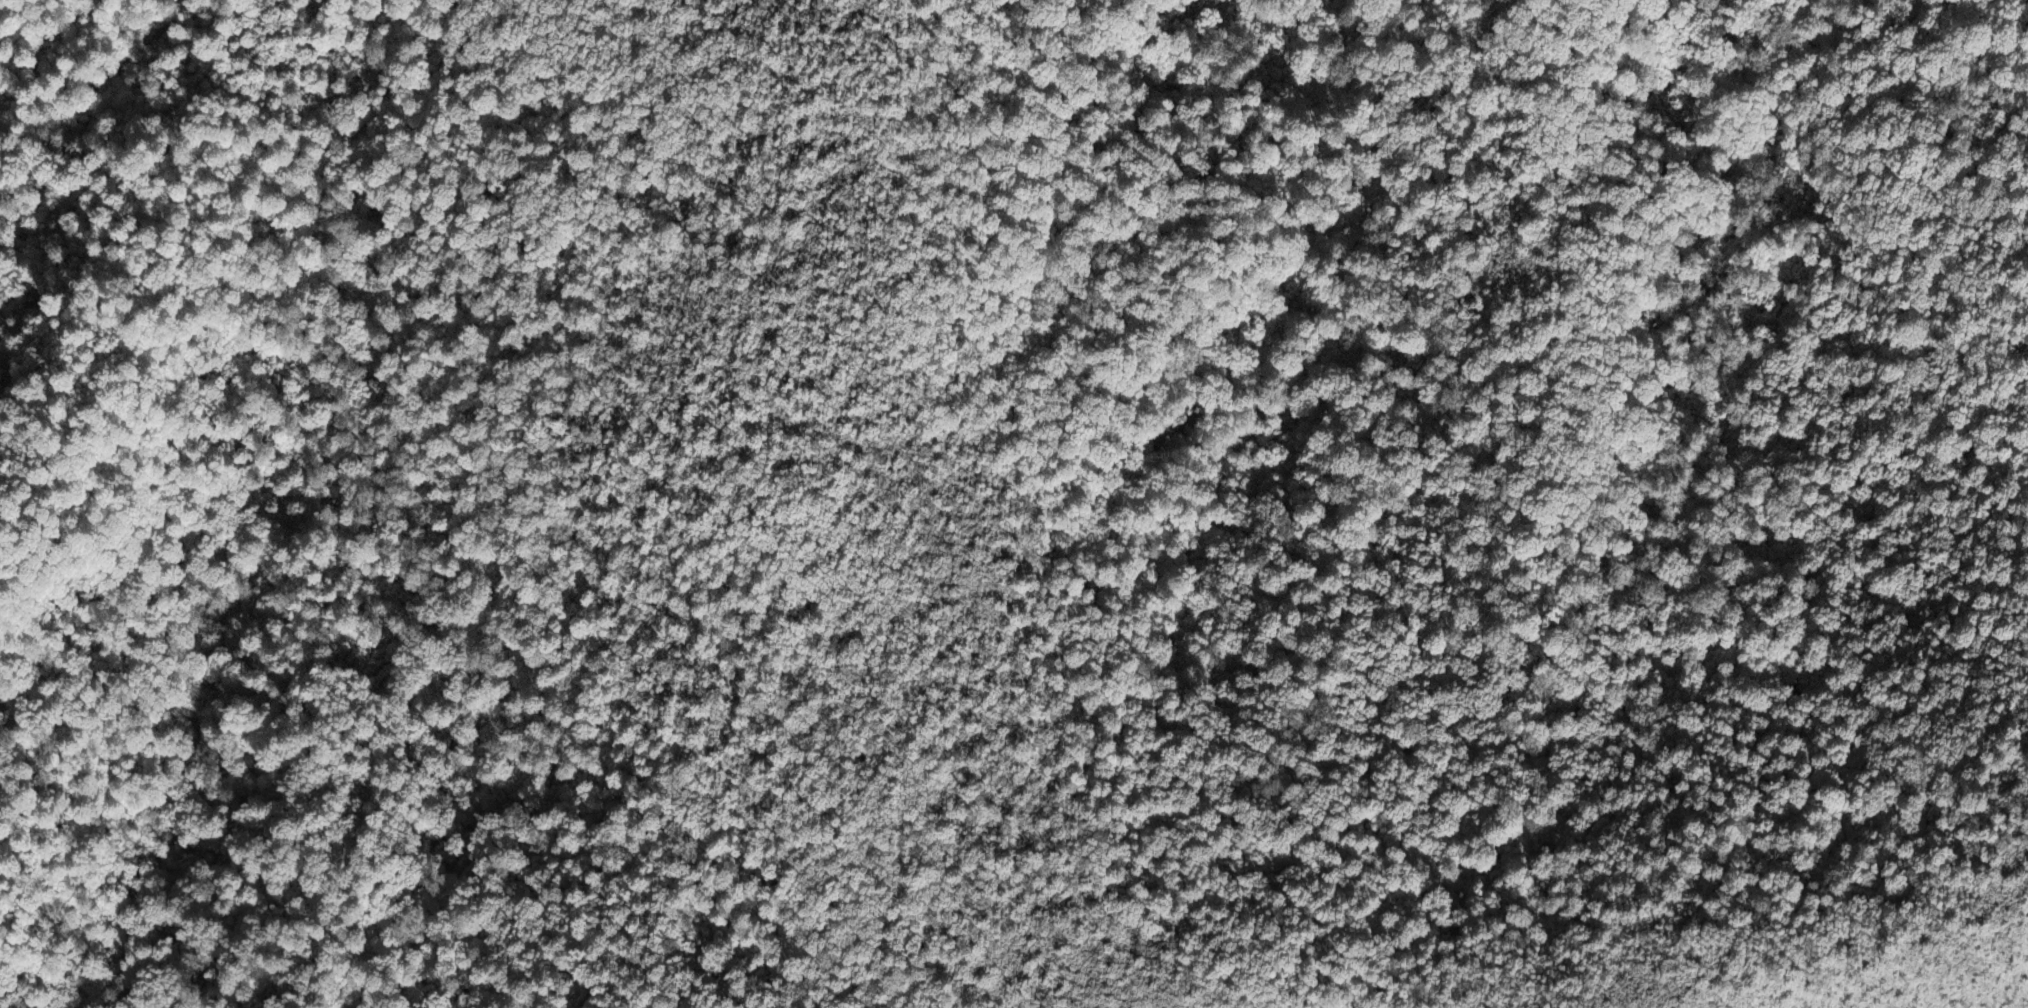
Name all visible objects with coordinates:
road: (1698, 2)

